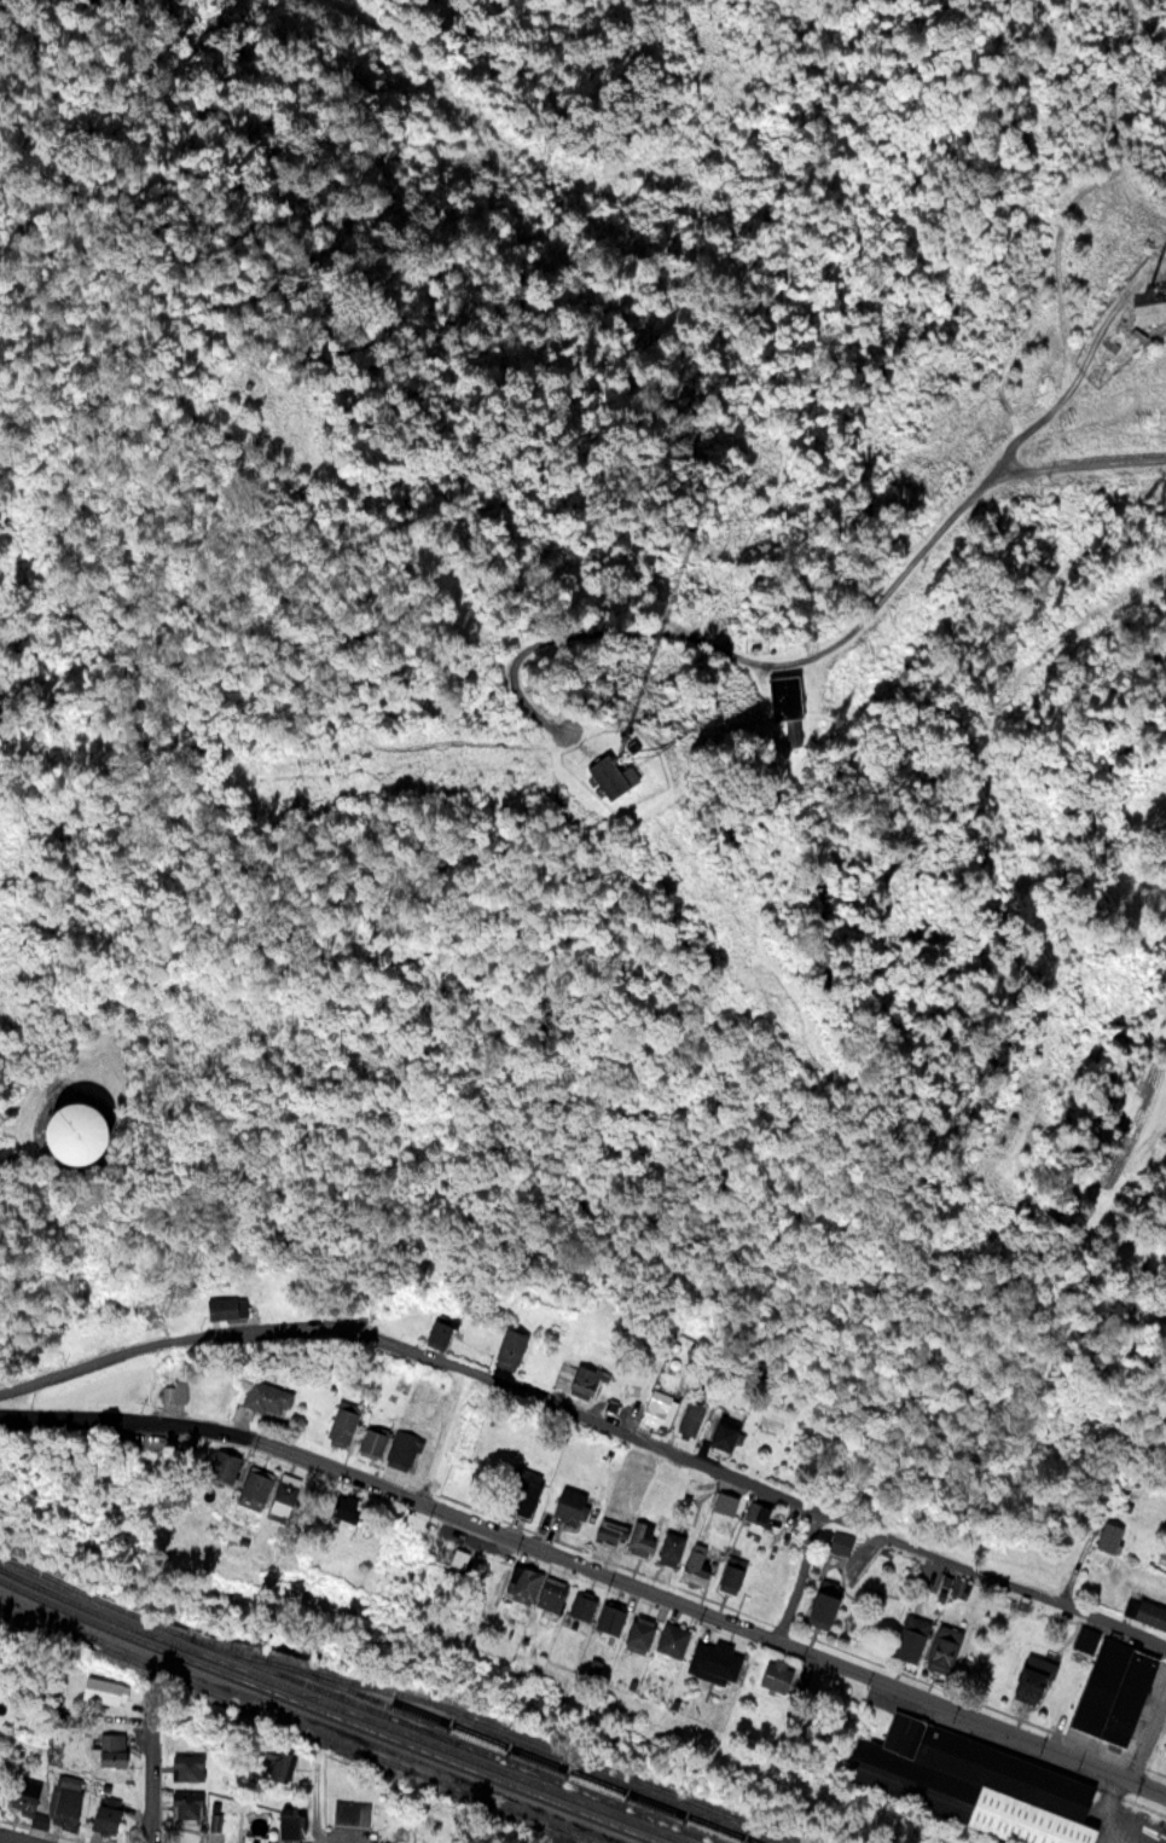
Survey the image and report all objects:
road: (1143, 25)
road: (1061, 244)
building: (1147, 312)
road: (807, 651)
building: (783, 695)
building: (598, 765)
road: (996, 813)
building: (58, 1130)
building: (224, 1305)
building: (440, 1329)
building: (507, 1346)
building: (575, 1377)
building: (173, 1390)
building: (265, 1396)
building: (655, 1407)
road: (590, 1410)
building: (688, 1418)
road: (133, 1424)
building: (340, 1424)
building: (721, 1431)
building: (370, 1441)
building: (401, 1448)
park: (1161, 1450)
building: (220, 1465)
building: (251, 1484)
building: (520, 1490)
building: (283, 1493)
building: (721, 1501)
building: (565, 1502)
building: (341, 1507)
building: (755, 1511)
building: (623, 1534)
building: (1107, 1535)
building: (840, 1541)
building: (667, 1546)
building: (1161, 1554)
building: (457, 1557)
building: (695, 1563)
building: (729, 1572)
road: (801, 1576)
building: (521, 1583)
building: (549, 1593)
building: (820, 1603)
building: (579, 1606)
building: (1145, 1611)
road: (714, 1613)
building: (607, 1618)
building: (637, 1632)
building: (909, 1638)
building: (669, 1639)
building: (1086, 1639)
building: (941, 1647)
building: (712, 1659)
building: (782, 1676)
building: (1027, 1679)
building: (1114, 1688)
building: (99, 1690)
railway: (355, 1699)
railway: (344, 1709)
railway: (330, 1712)
railway: (307, 1723)
railway: (520, 1731)
road: (1155, 1746)
building: (110, 1748)
building: (1164, 1748)
railway: (521, 1752)
building: (273, 1762)
building: (186, 1766)
building: (973, 1781)
building: (22, 1790)
road: (150, 1796)
building: (64, 1798)
building: (185, 1803)
road: (317, 1804)
building: (350, 1810)
building: (103, 1816)
building: (286, 1826)
road: (16, 1838)
road: (5, 1839)
building: (215, 1842)

